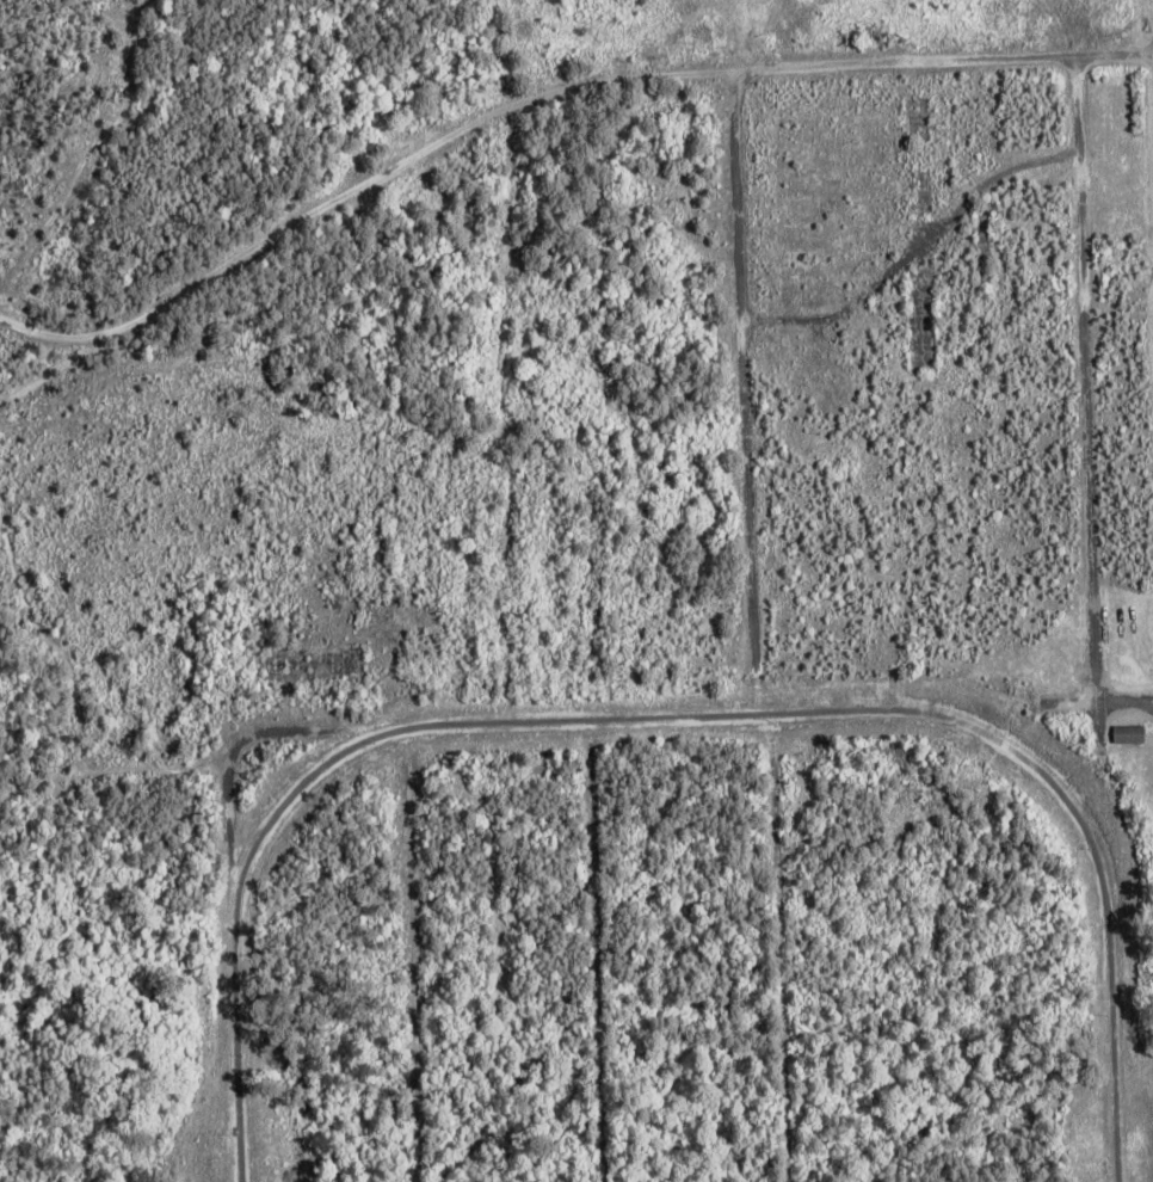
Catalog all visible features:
road: (534, 98)
road: (1098, 620)
road: (753, 627)
road: (510, 727)
building: (1132, 735)
road: (600, 953)
road: (409, 956)

